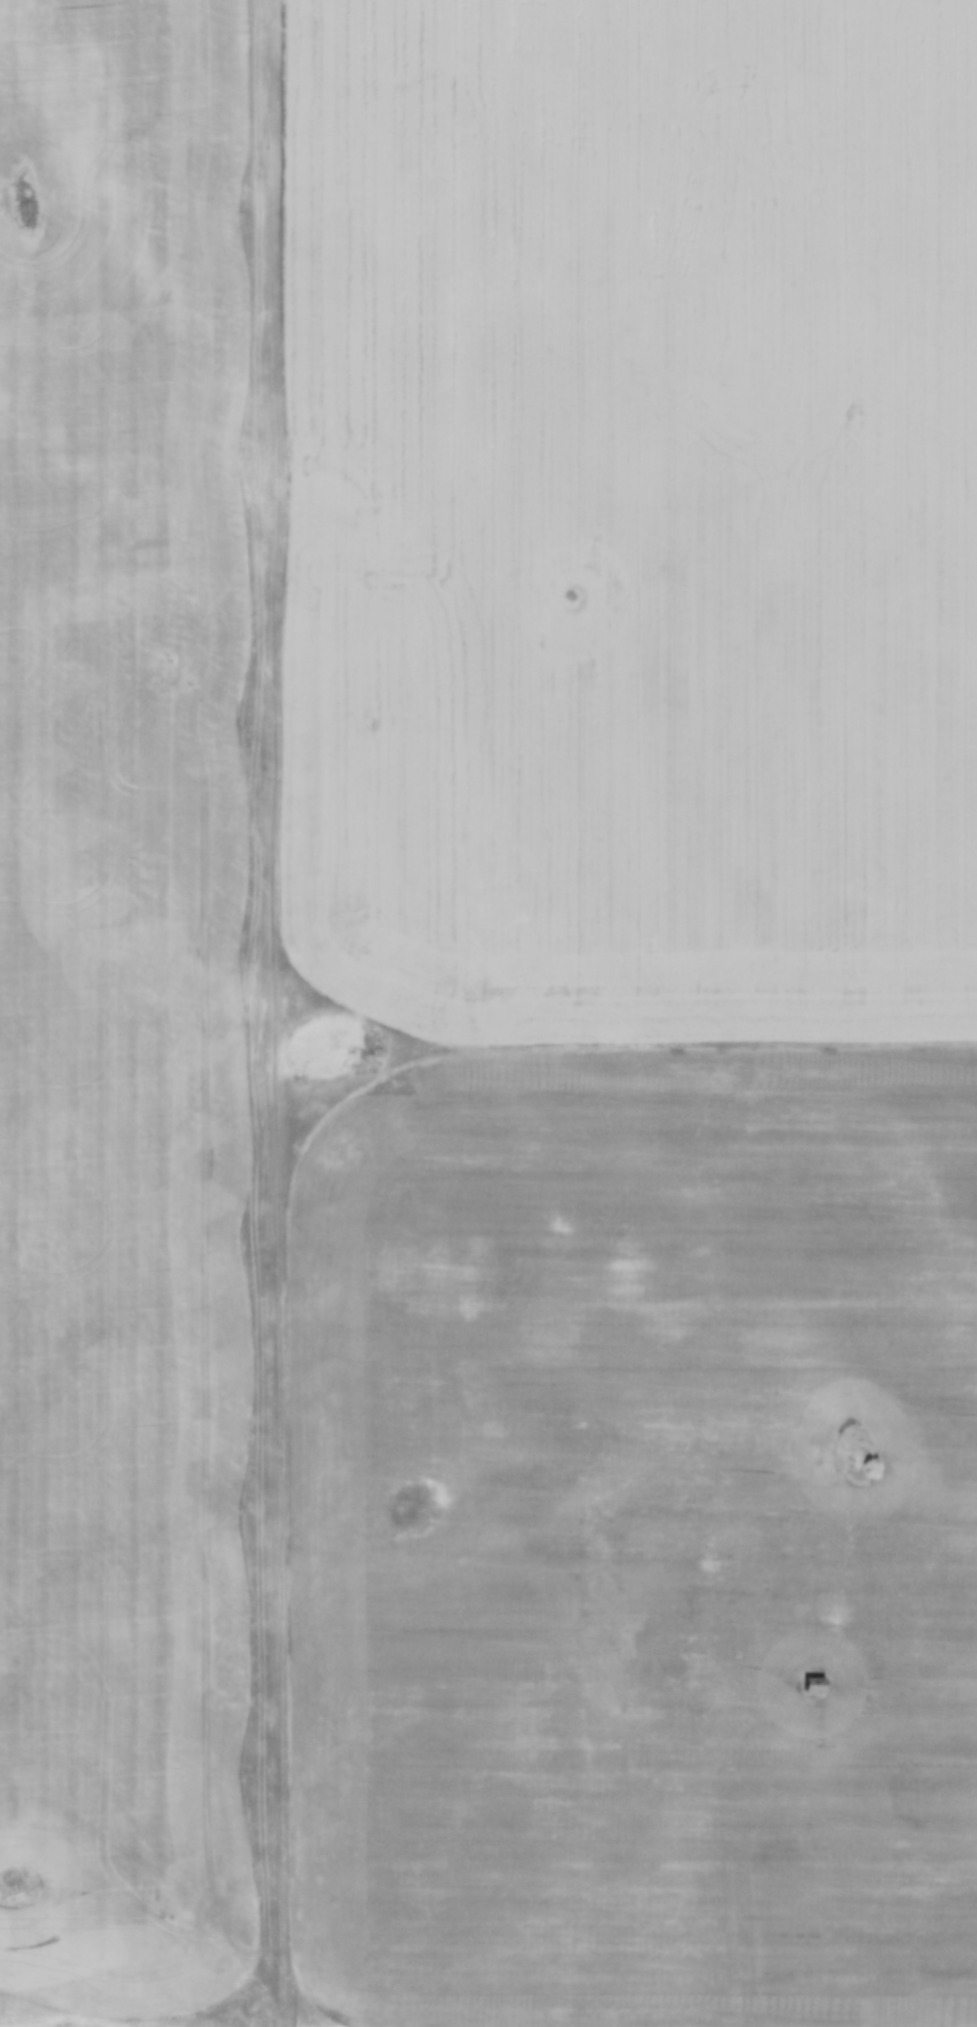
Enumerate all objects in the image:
road: (256, 1013)
building: (816, 1684)

